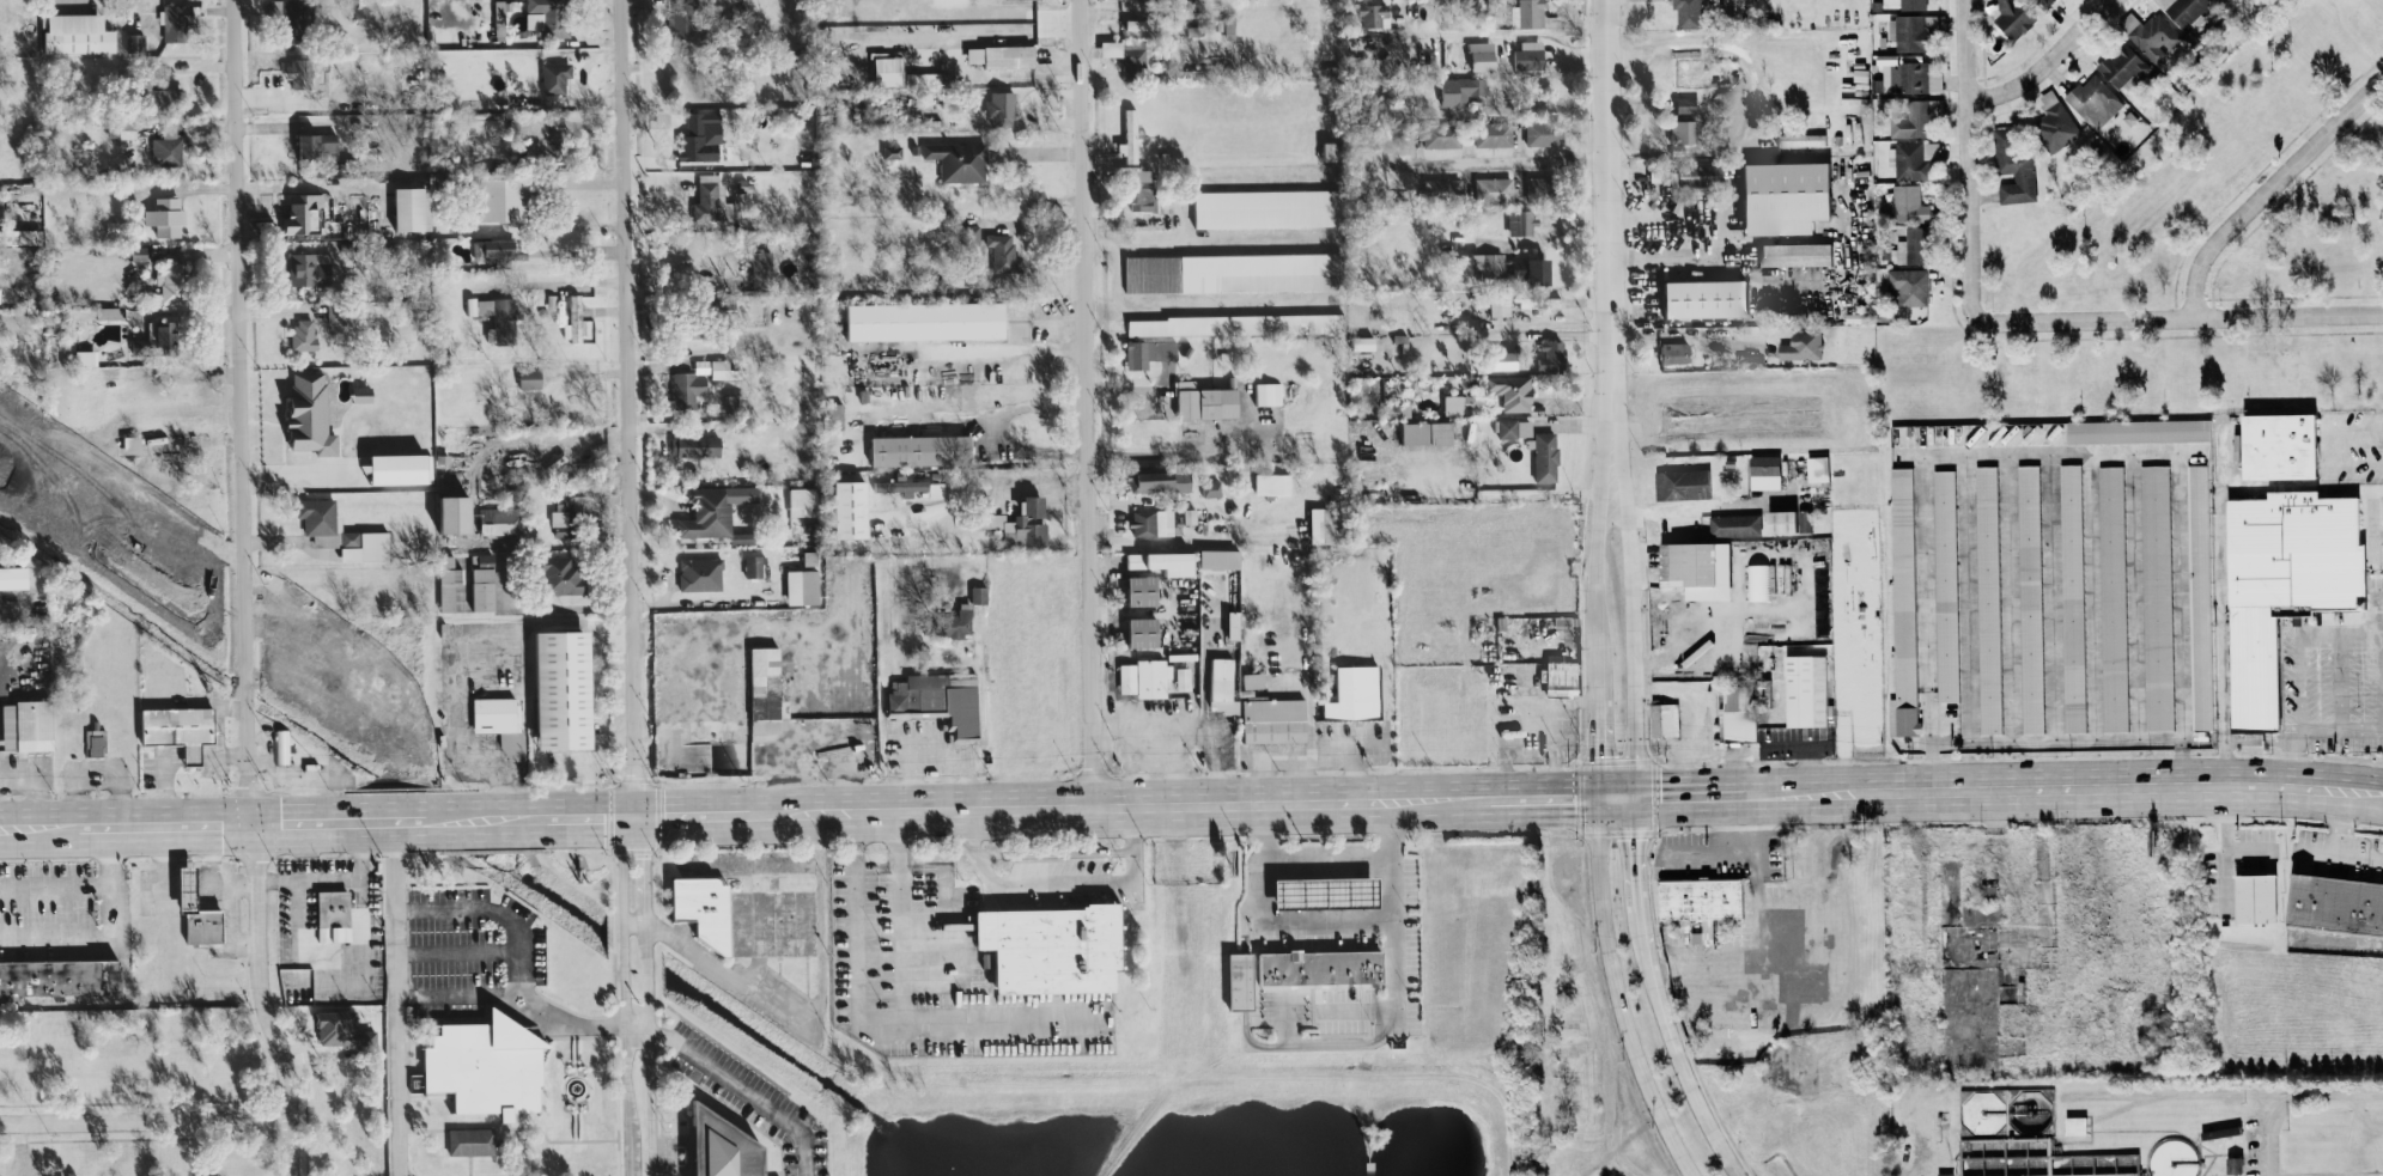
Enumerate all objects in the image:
building: (1914, 4)
building: (286, 7)
building: (2184, 10)
building: (499, 13)
building: (1374, 13)
building: (1528, 13)
building: (1690, 13)
building: (549, 16)
building: (681, 20)
building: (178, 22)
building: (1142, 24)
building: (79, 32)
road: (1506, 32)
building: (1910, 32)
building: (2152, 35)
building: (135, 42)
road: (1722, 47)
building: (1003, 55)
building: (1132, 56)
building: (1528, 57)
building: (1484, 60)
building: (2124, 65)
road: (2053, 66)
building: (299, 72)
building: (1916, 75)
building: (555, 77)
building: (1893, 78)
building: (1460, 90)
building: (154, 93)
building: (2049, 98)
building: (2096, 100)
building: (1002, 105)
road: (1546, 105)
building: (1690, 108)
building: (1911, 120)
building: (128, 127)
building: (2057, 127)
building: (1685, 130)
building: (1545, 132)
building: (1494, 134)
building: (1131, 136)
building: (1442, 136)
building: (701, 139)
building: (1803, 139)
building: (318, 145)
building: (166, 151)
building: (893, 151)
building: (959, 160)
road: (1512, 160)
road: (1970, 162)
building: (2016, 167)
building: (1704, 175)
road: (1232, 184)
road: (297, 185)
road: (1788, 185)
building: (1443, 187)
building: (1540, 187)
road: (2268, 187)
building: (1495, 189)
road: (1611, 190)
building: (1143, 191)
building: (1789, 196)
building: (505, 199)
building: (713, 202)
building: (1910, 203)
building: (414, 207)
building: (1269, 207)
building: (303, 213)
building: (166, 215)
building: (1522, 221)
road: (1212, 243)
building: (1916, 245)
building: (499, 249)
building: (1003, 250)
building: (1798, 254)
building: (1489, 260)
road: (1726, 260)
building: (1521, 266)
building: (764, 267)
building: (310, 268)
building: (1540, 269)
building: (1234, 272)
building: (172, 281)
road: (558, 284)
building: (1910, 285)
road: (685, 287)
building: (1709, 298)
building: (1542, 301)
road: (1205, 304)
building: (1501, 304)
building: (111, 311)
building: (335, 312)
building: (496, 316)
road: (2214, 316)
building: (573, 318)
building: (928, 319)
road: (2014, 319)
building: (1236, 323)
building: (166, 333)
building: (305, 334)
road: (1526, 335)
road: (1684, 336)
building: (1804, 345)
building: (1149, 352)
road: (997, 353)
building: (1676, 354)
building: (1554, 355)
building: (86, 357)
building: (1506, 360)
building: (721, 368)
building: (530, 377)
building: (689, 385)
road: (1123, 388)
building: (1512, 390)
building: (1269, 392)
building: (363, 394)
road: (1087, 401)
road: (631, 406)
building: (1454, 406)
building: (311, 413)
building: (1515, 427)
road: (1002, 428)
building: (2140, 431)
building: (1428, 432)
road: (516, 438)
building: (697, 445)
building: (2286, 445)
building: (923, 449)
road: (2333, 450)
building: (1545, 456)
building: (110, 457)
building: (401, 468)
building: (1820, 469)
building: (1768, 470)
building: (156, 471)
road: (2181, 480)
building: (1161, 481)
building: (1273, 482)
building: (1685, 482)
road: (1044, 483)
building: (913, 487)
building: (1211, 488)
road: (1060, 499)
building: (804, 501)
road: (1713, 504)
building: (852, 508)
building: (566, 511)
building: (707, 512)
building: (458, 513)
building: (320, 519)
building: (501, 520)
building: (1160, 520)
building: (1791, 520)
building: (1021, 523)
building: (1325, 524)
building: (1738, 524)
road: (1591, 529)
building: (746, 537)
road: (1194, 542)
building: (365, 546)
building: (1221, 557)
building: (1165, 561)
building: (754, 566)
building: (1702, 567)
building: (701, 573)
building: (564, 575)
building: (14, 577)
building: (485, 581)
building: (1758, 581)
building: (450, 583)
building: (2290, 584)
building: (1949, 585)
building: (803, 586)
road: (1627, 586)
road: (242, 590)
building: (1144, 590)
building: (979, 593)
building: (2158, 596)
building: (2201, 596)
building: (2074, 597)
river: (117, 598)
building: (2032, 598)
building: (2115, 598)
building: (1990, 599)
building: (1905, 603)
road: (577, 611)
building: (956, 621)
road: (2140, 622)
building: (1234, 624)
road: (2018, 624)
road: (2059, 624)
road: (1931, 626)
road: (1971, 626)
building: (1145, 632)
road: (2378, 638)
road: (2299, 651)
road: (1132, 669)
building: (1127, 677)
building: (1151, 677)
building: (1179, 678)
building: (1563, 678)
building: (1254, 680)
building: (766, 682)
road: (800, 684)
river: (245, 686)
building: (1224, 686)
building: (565, 689)
building: (1808, 689)
building: (1356, 693)
building: (940, 700)
road: (213, 701)
building: (1741, 712)
road: (1690, 713)
road: (1212, 717)
road: (1309, 718)
building: (1276, 719)
building: (1666, 720)
building: (500, 721)
building: (28, 725)
building: (770, 725)
building: (180, 729)
road: (219, 729)
road: (1552, 729)
road: (2101, 729)
road: (1594, 736)
road: (2341, 736)
building: (95, 742)
building: (281, 745)
road: (1352, 751)
road: (192, 754)
road: (223, 754)
traffic signals: (1595, 755)
road: (940, 761)
road: (35, 784)
road: (170, 784)
road: (2310, 785)
road: (2048, 786)
road: (1799, 790)
road: (1686, 792)
road: (1615, 793)
traffic signals: (1660, 793)
road: (1540, 794)
traffic signals: (1574, 794)
road: (1439, 797)
road: (1373, 798)
road: (1285, 799)
road: (1333, 799)
road: (1238, 800)
road: (955, 806)
road: (665, 811)
river: (430, 812)
road: (633, 812)
traffic signals: (634, 812)
road: (582, 814)
road: (510, 816)
road: (444, 818)
road: (322, 819)
traffic signals: (250, 822)
road: (164, 823)
road: (19, 824)
road: (59, 824)
traffic signals: (1634, 837)
road: (2339, 841)
road: (359, 848)
road: (1727, 849)
road: (1054, 852)
road: (1326, 854)
road: (1819, 859)
road: (1262, 861)
road: (1391, 861)
road: (1634, 866)
road: (1060, 881)
road: (55, 886)
building: (1331, 892)
building: (1704, 898)
building: (2260, 898)
building: (2338, 902)
building: (703, 910)
building: (199, 912)
road: (902, 914)
building: (341, 918)
road: (1327, 925)
road: (111, 933)
building: (1054, 947)
road: (456, 951)
road: (519, 951)
river: (636, 953)
road: (360, 958)
building: (1323, 967)
road: (727, 968)
building: (60, 976)
building: (1242, 981)
road: (1616, 991)
road: (457, 992)
road: (395, 997)
road: (1391, 1004)
road: (1698, 1005)
road: (880, 1022)
building: (344, 1029)
road: (575, 1049)
road: (1678, 1061)
building: (486, 1065)
road: (569, 1074)
river: (815, 1076)
road: (735, 1083)
road: (2286, 1098)
road: (618, 1099)
road: (576, 1119)
road: (142, 1120)
road: (467, 1126)
road: (539, 1126)
building: (2079, 1126)
wastewater plant: (2134, 1126)
building: (2221, 1132)
road: (2278, 1137)
road: (585, 1139)
building: (472, 1141)
building: (722, 1146)
road: (507, 1151)
road: (547, 1158)
building: (2236, 1165)
building: (31, 1168)
road: (547, 1172)
building: (1946, 1174)
road: (2372, 1175)

